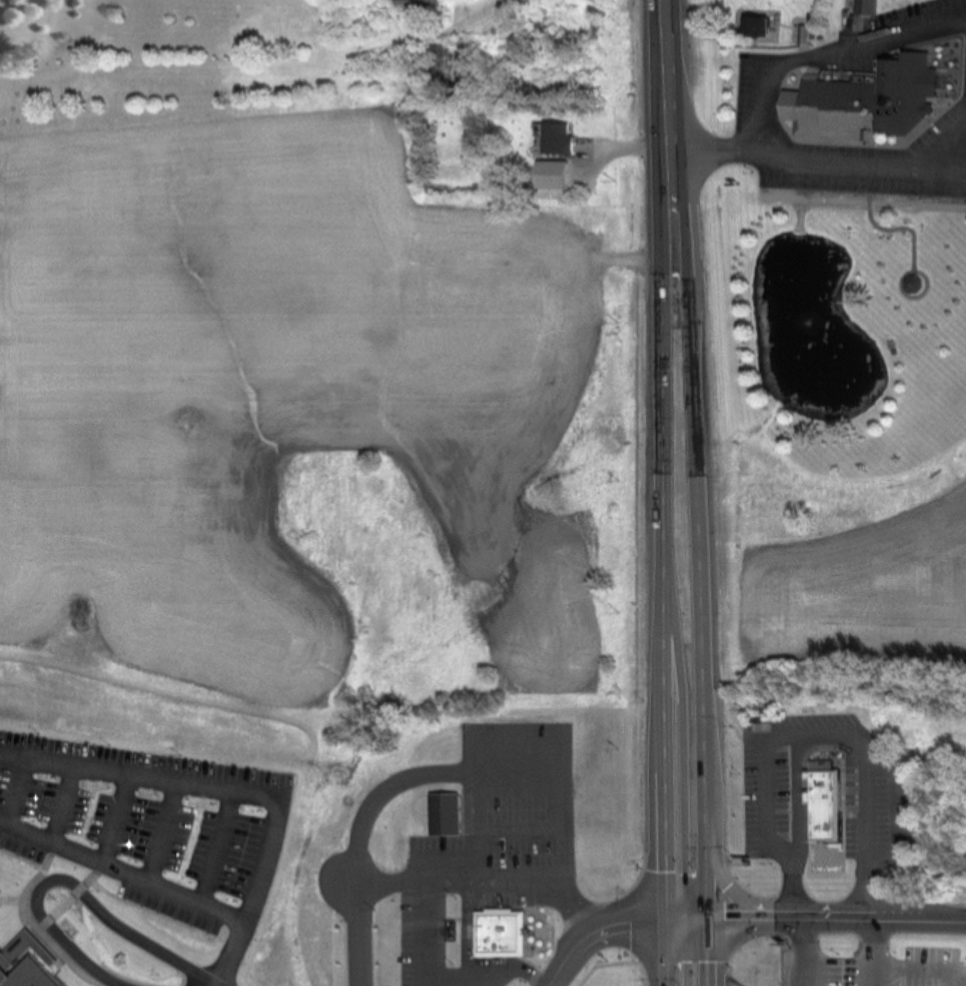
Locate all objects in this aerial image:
building: (417, 3)
building: (864, 7)
building: (752, 27)
power tower: (613, 35)
road: (823, 55)
building: (452, 63)
road: (669, 84)
building: (867, 103)
building: (558, 140)
road: (633, 148)
road: (949, 148)
road: (817, 164)
power tower: (616, 181)
building: (554, 242)
road: (637, 256)
power tower: (617, 324)
power tower: (619, 480)
road: (697, 512)
road: (662, 544)
power tower: (620, 614)
road: (681, 745)
power tower: (619, 748)
road: (430, 777)
road: (10, 788)
road: (239, 789)
road: (538, 794)
road: (57, 802)
building: (820, 807)
building: (443, 815)
road: (112, 817)
parking lot: (147, 823)
road: (163, 831)
road: (537, 841)
road: (213, 845)
road: (122, 872)
road: (68, 885)
road: (544, 885)
road: (707, 887)
road: (369, 893)
road: (743, 900)
traffic signals: (667, 919)
road: (687, 919)
traffic signals: (707, 919)
road: (753, 919)
road: (623, 920)
road: (833, 920)
road: (916, 921)
building: (497, 935)
building: (373, 943)
road: (683, 950)
road: (667, 952)
road: (707, 952)
road: (799, 953)
road: (867, 953)
road: (564, 959)
building: (281, 960)
road: (473, 961)
building: (25, 962)
power tower: (608, 962)
road: (617, 963)
road: (64, 971)
road: (920, 973)
road: (438, 984)

